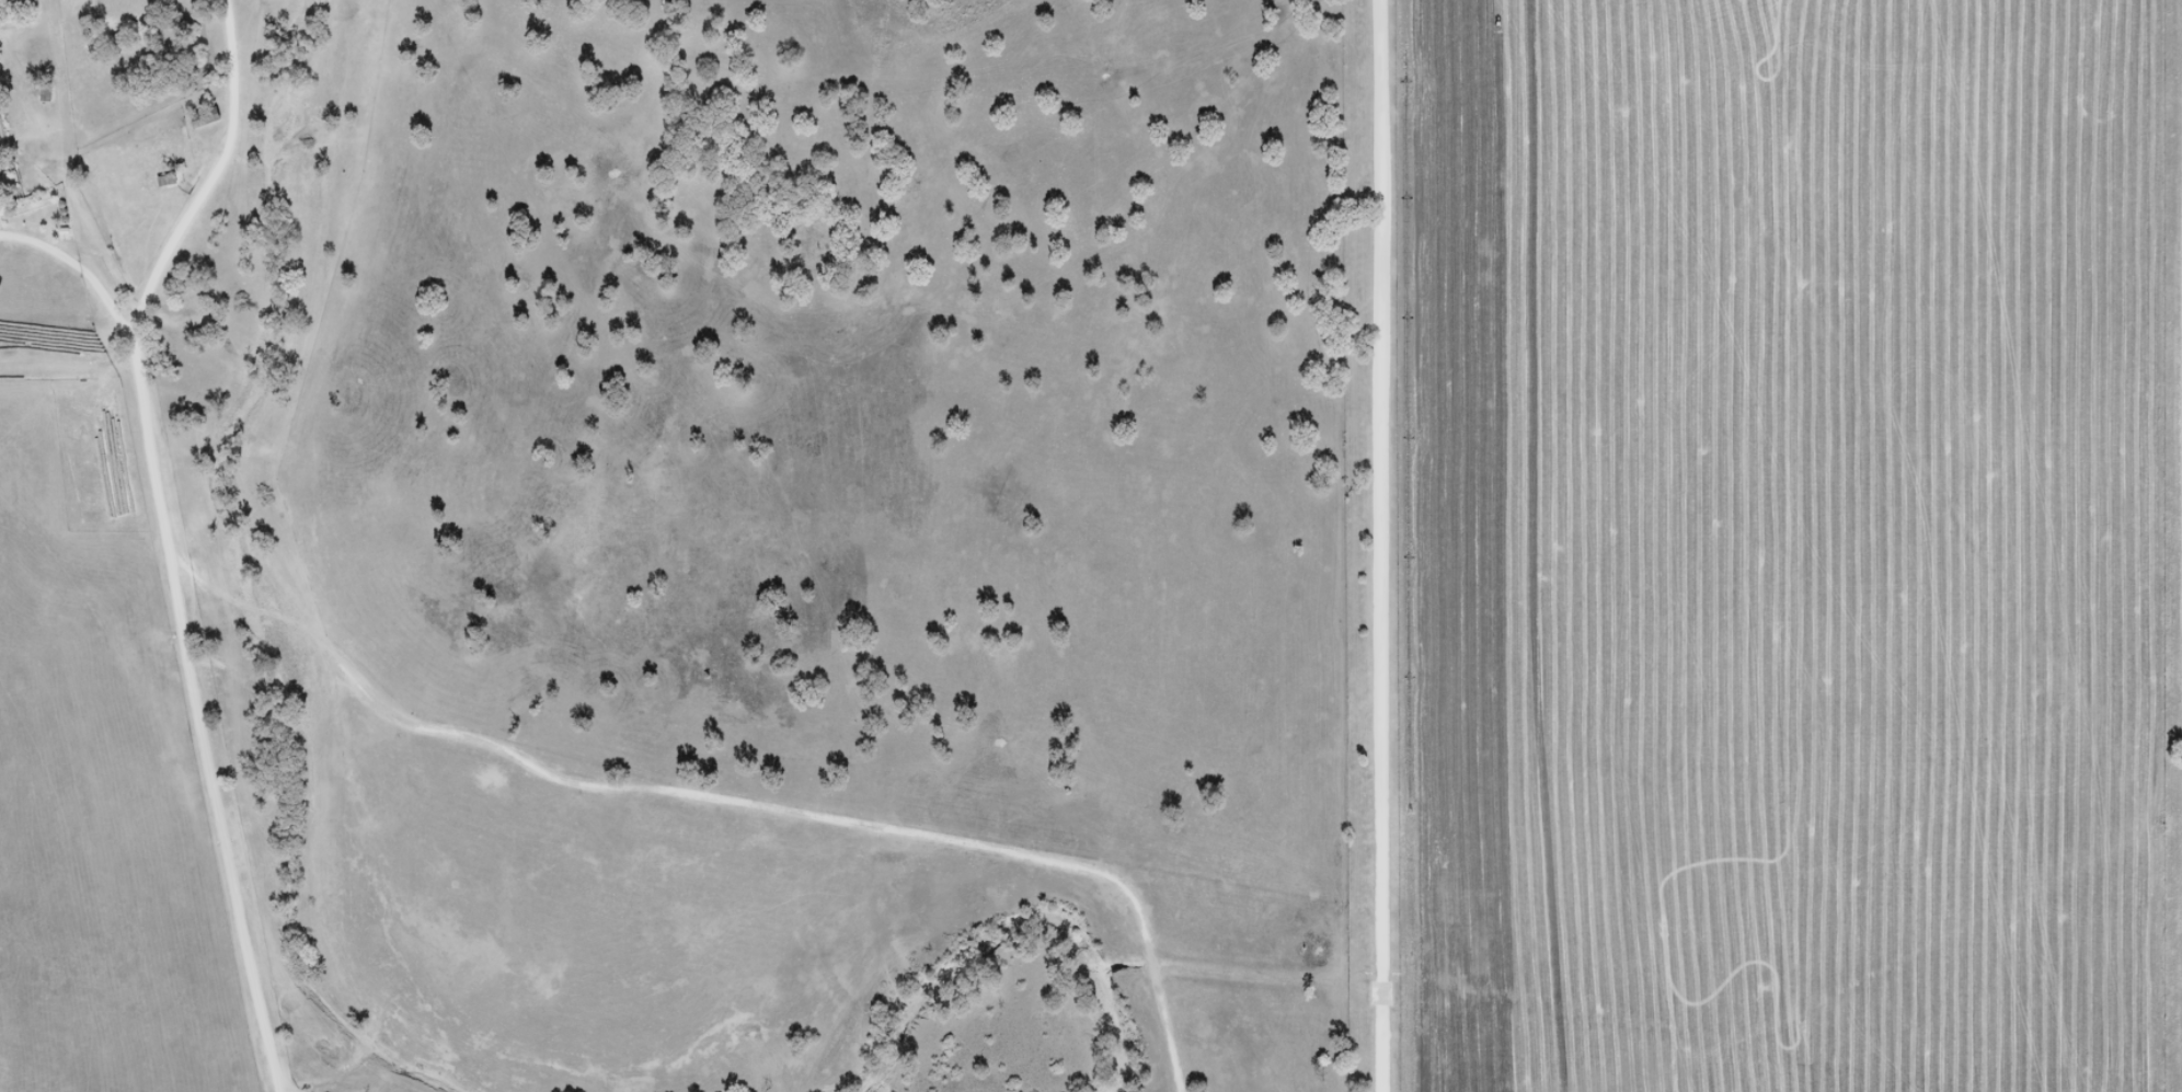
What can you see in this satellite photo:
building: (207, 116)
building: (158, 164)
road: (209, 170)
road: (76, 264)
road: (1376, 545)
road: (196, 711)

